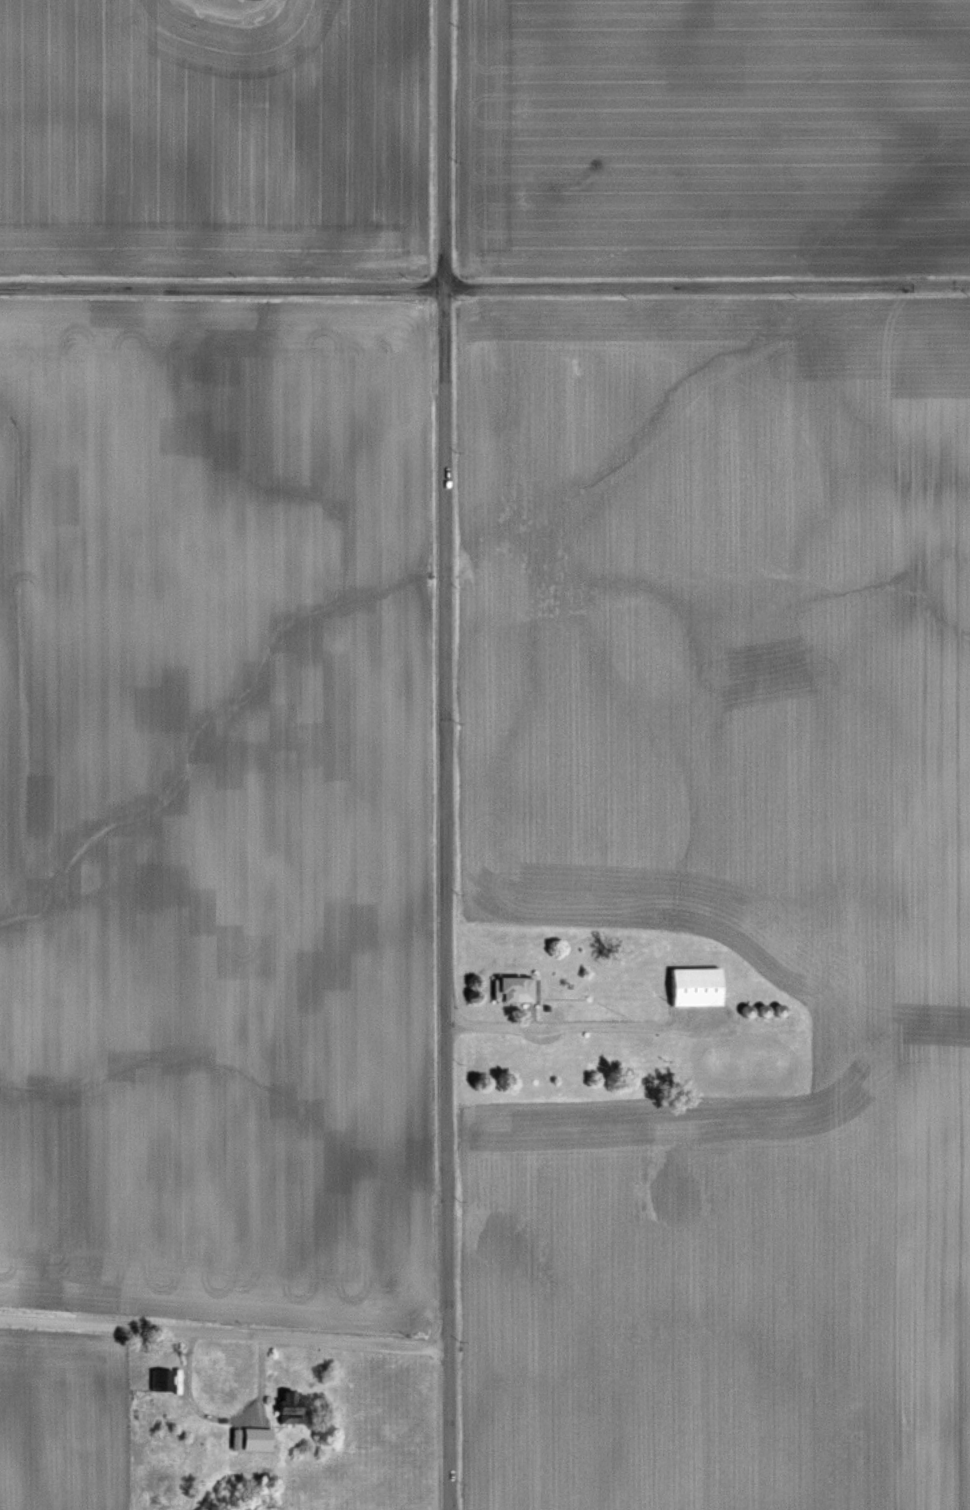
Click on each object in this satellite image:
road: (485, 285)
road: (448, 754)
building: (701, 987)
building: (517, 989)
road: (585, 1020)
road: (224, 1332)
building: (165, 1379)
building: (296, 1406)
road: (223, 1419)

